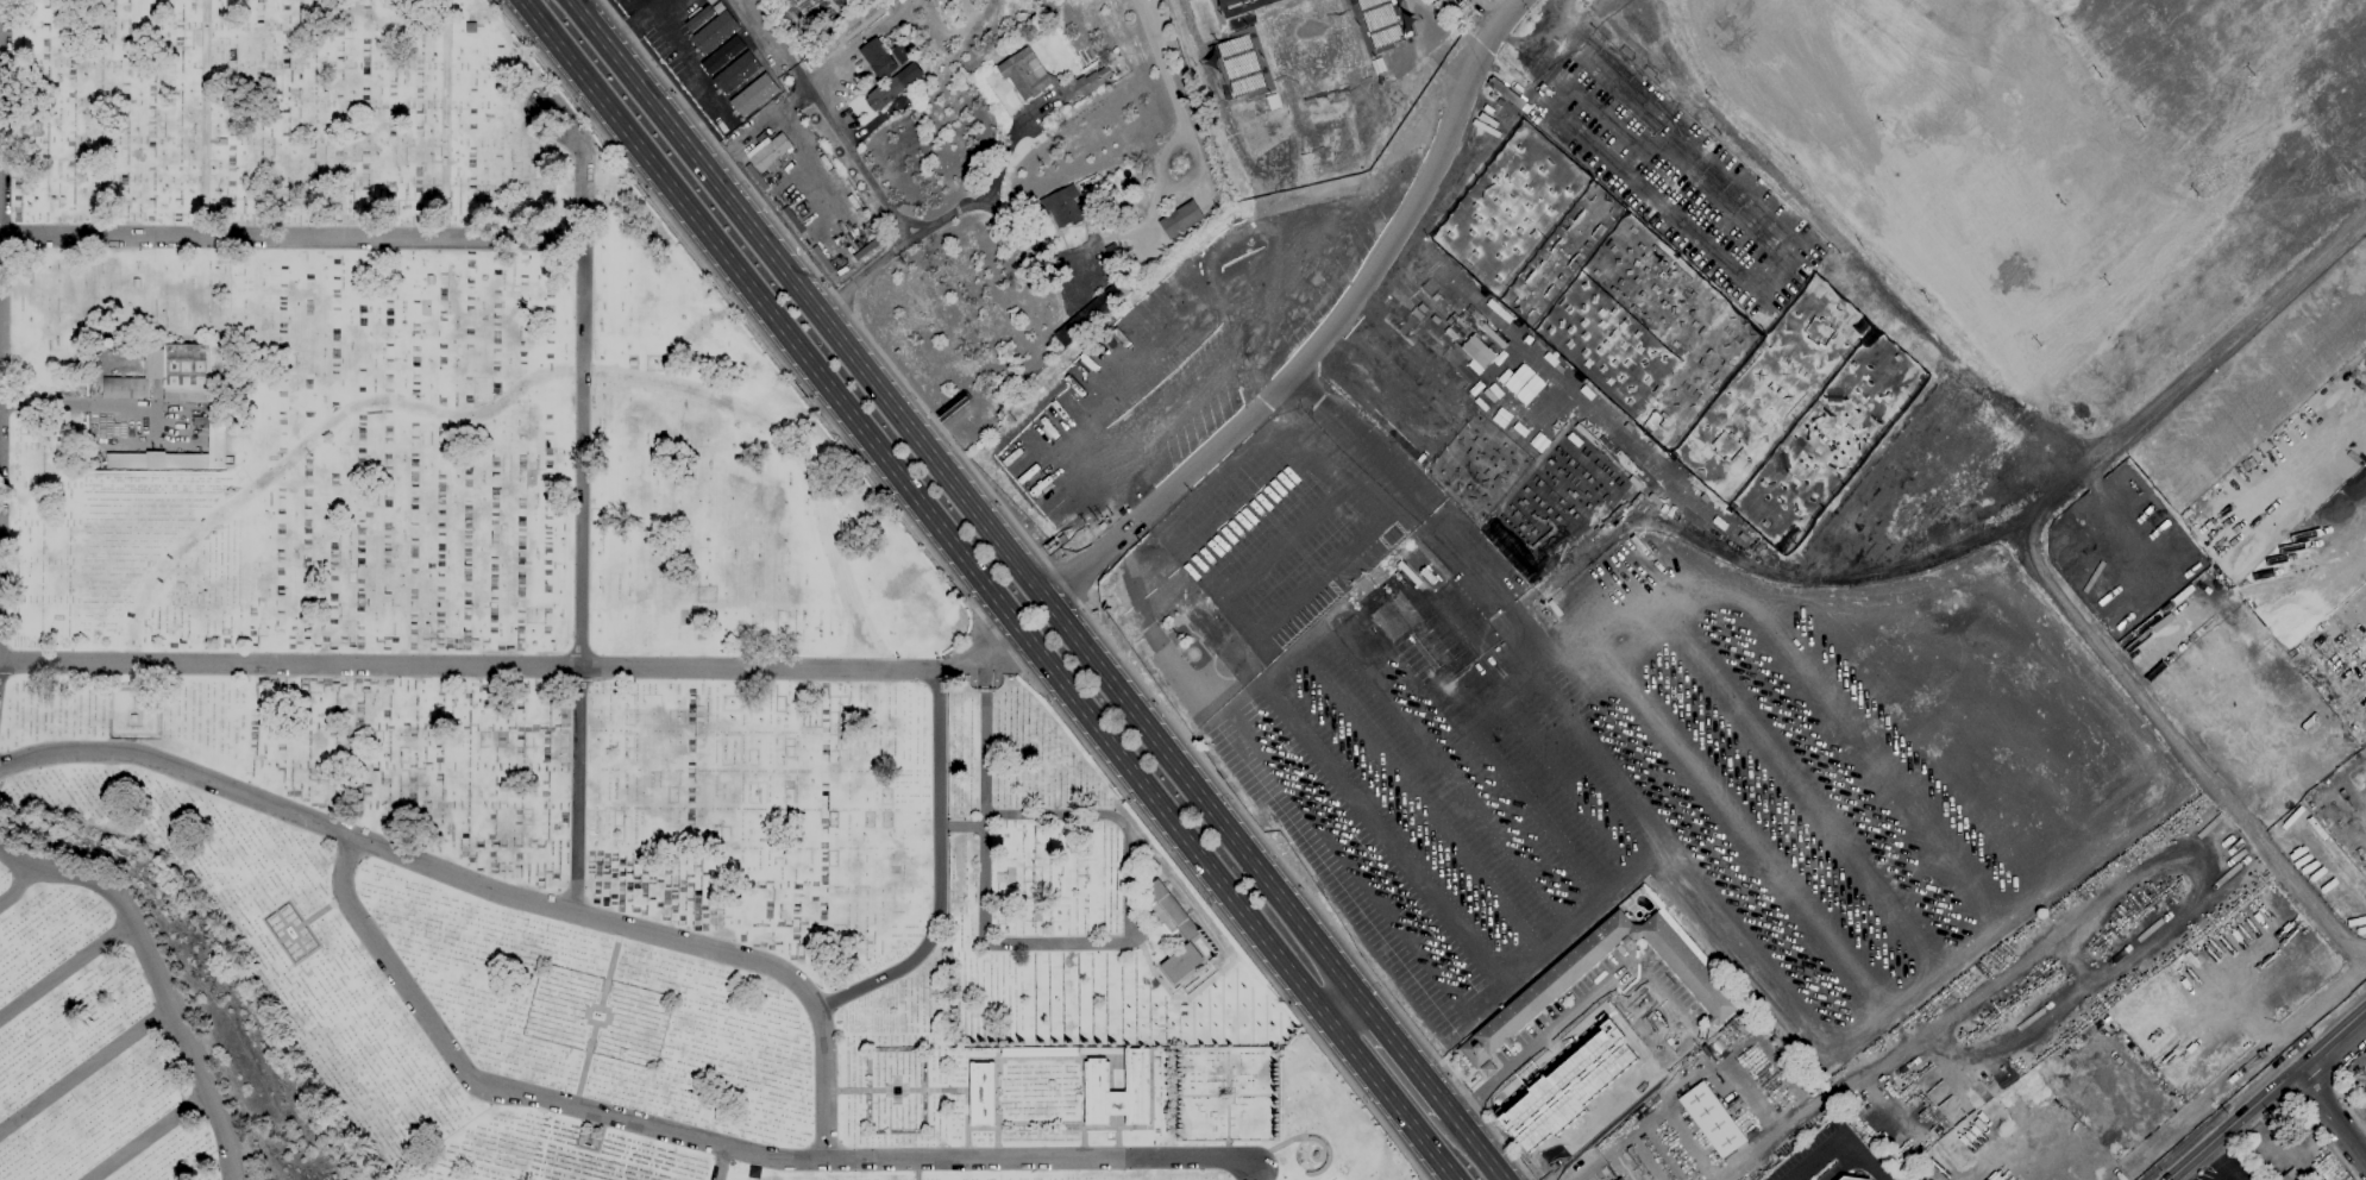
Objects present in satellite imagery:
building: (1234, 2)
building: (1383, 20)
road: (641, 24)
building: (716, 31)
road: (772, 31)
park: (1308, 45)
building: (900, 54)
building: (879, 58)
road: (684, 59)
building: (1236, 65)
building: (733, 69)
road: (1, 77)
building: (1042, 77)
building: (745, 84)
building: (851, 87)
building: (893, 87)
building: (758, 102)
road: (527, 108)
road: (205, 118)
road: (445, 119)
road: (758, 128)
building: (224, 140)
road: (855, 151)
building: (770, 153)
road: (1003, 157)
building: (1063, 206)
park: (1508, 207)
building: (1126, 219)
building: (1181, 219)
building: (1115, 227)
road: (290, 237)
road: (1025, 237)
building: (1111, 250)
park: (1559, 255)
road: (887, 261)
building: (431, 280)
building: (137, 283)
road: (826, 283)
park: (1655, 285)
building: (1097, 306)
road: (1325, 334)
park: (1607, 346)
building: (1476, 351)
building: (633, 362)
park: (1702, 377)
building: (1524, 383)
building: (126, 388)
park: (1771, 388)
road: (520, 390)
road: (52, 404)
building: (218, 404)
road: (1450, 423)
park: (1827, 439)
park: (1479, 466)
road: (1319, 470)
road: (965, 498)
park: (1555, 502)
road: (921, 513)
road: (1250, 513)
road: (580, 521)
road: (1412, 527)
road: (1995, 534)
road: (1285, 546)
building: (1423, 569)
road: (1063, 584)
road: (1215, 588)
road: (960, 589)
building: (1205, 627)
building: (1406, 632)
building: (1237, 659)
road: (1906, 660)
road: (509, 661)
park: (516, 685)
building: (134, 717)
road: (1413, 728)
road: (1448, 741)
road: (2135, 745)
road: (2180, 748)
road: (1890, 755)
road: (1885, 757)
road: (1826, 764)
road: (1571, 786)
road: (1780, 793)
road: (1539, 812)
road: (1739, 823)
road: (1397, 852)
road: (1347, 862)
road: (2210, 867)
road: (948, 874)
road: (485, 887)
road: (15, 889)
road: (1305, 891)
building: (1173, 909)
road: (1540, 955)
building: (1182, 962)
road: (67, 969)
road: (155, 974)
building: (1552, 983)
road: (1638, 1000)
road: (1347, 1008)
road: (1672, 1009)
road: (598, 1015)
road: (1557, 1029)
road: (2332, 1038)
building: (1040, 1052)
road: (1405, 1053)
road: (83, 1066)
building: (1488, 1067)
building: (2356, 1068)
road: (2235, 1069)
building: (1097, 1077)
building: (1568, 1086)
building: (983, 1093)
road: (1394, 1100)
road: (2321, 1103)
road: (1881, 1106)
road: (2352, 1111)
road: (2330, 1115)
building: (1712, 1119)
railway: (1527, 1122)
road: (1786, 1123)
road: (2232, 1123)
road: (2260, 1136)
road: (148, 1137)
road: (1844, 1138)
road: (717, 1143)
road: (1474, 1144)
road: (2332, 1146)
parking lot: (1813, 1151)
road: (720, 1162)
road: (916, 1170)
road: (1529, 1173)
building: (2291, 1175)
building: (1850, 1178)
building: (1621, 1179)

